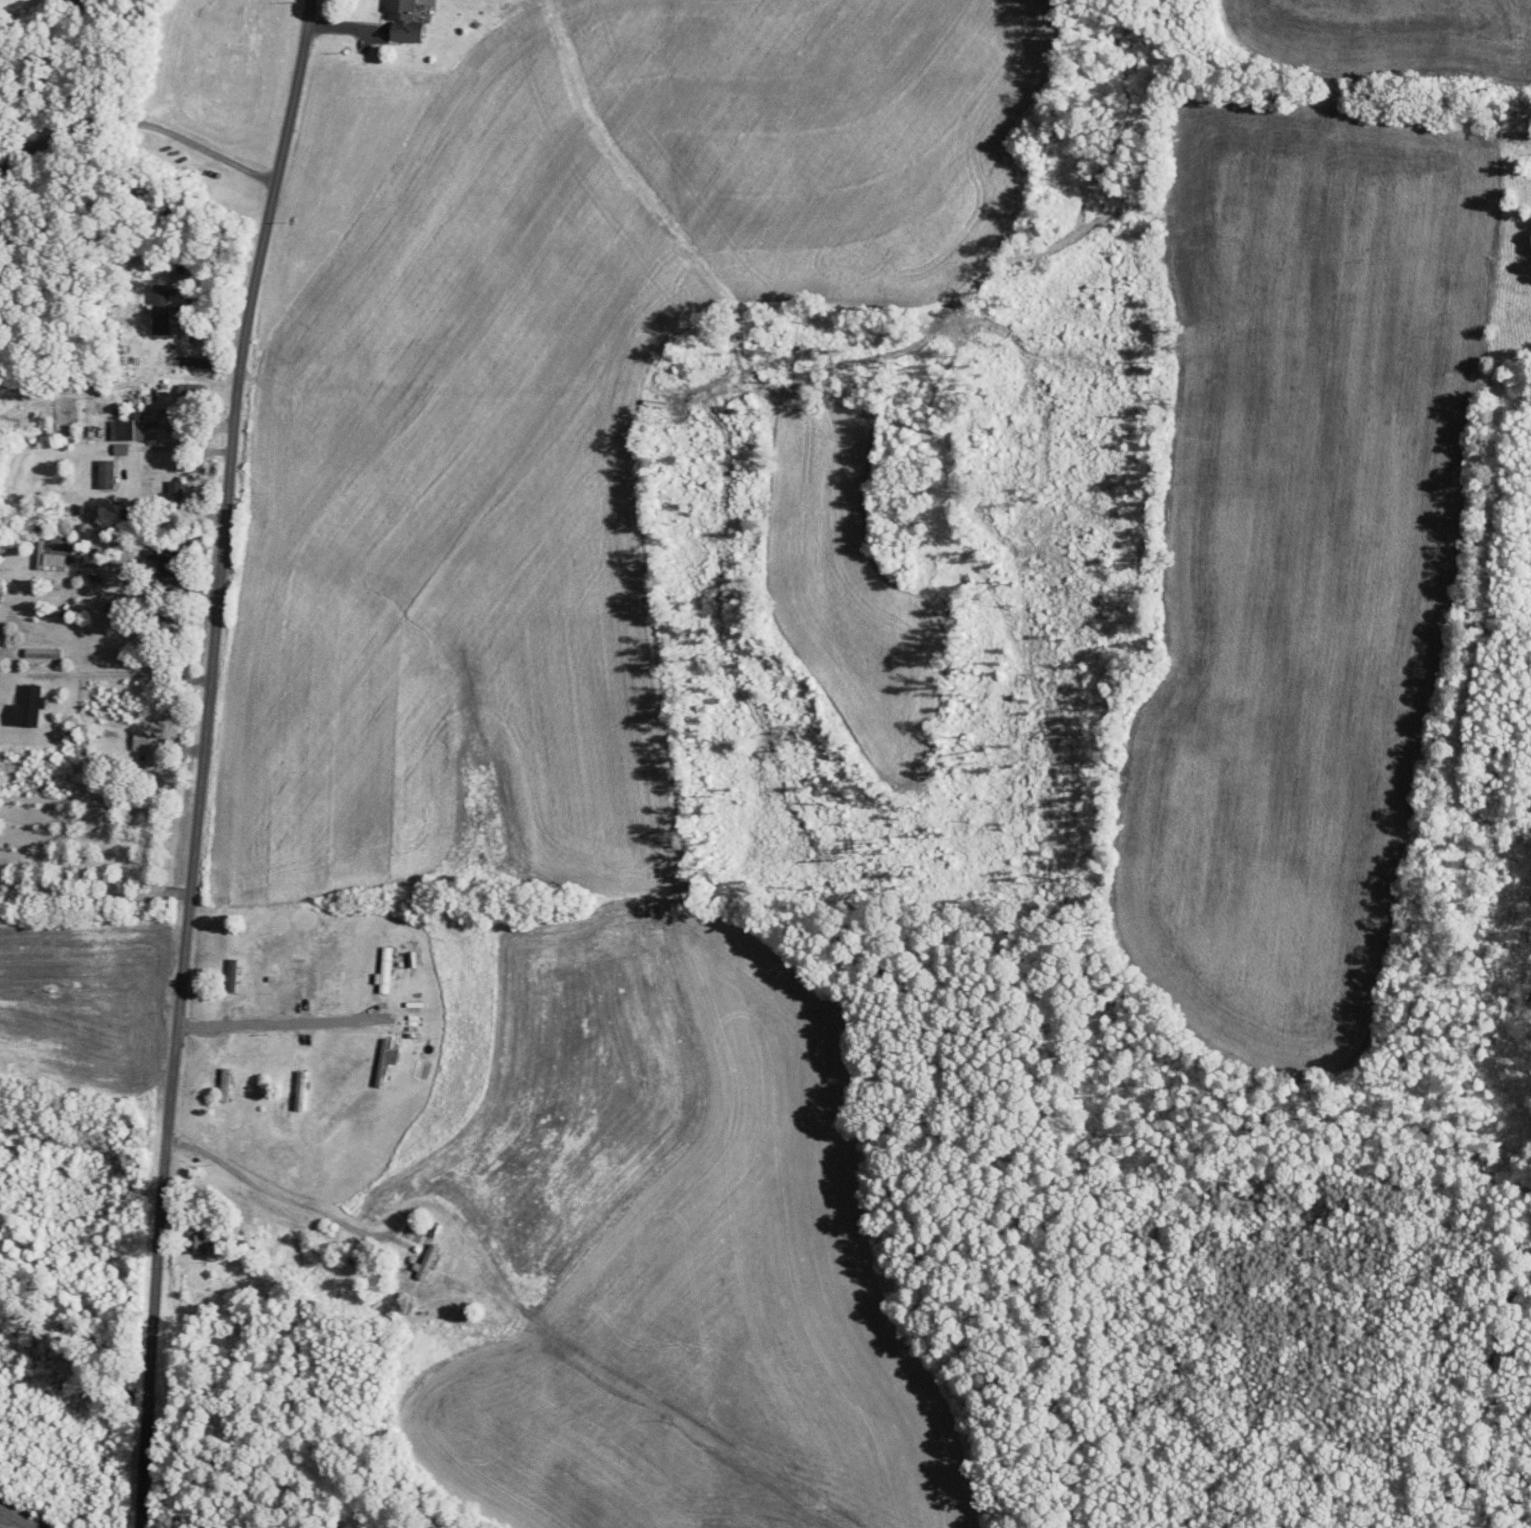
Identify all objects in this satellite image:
building: (406, 19)
road: (136, 121)
building: (164, 307)
building: (188, 391)
building: (128, 427)
road: (182, 445)
building: (119, 449)
building: (106, 473)
road: (187, 489)
building: (58, 545)
building: (42, 652)
road: (133, 673)
building: (28, 706)
building: (146, 746)
road: (199, 761)
road: (94, 895)
building: (384, 969)
building: (232, 974)
road: (293, 1022)
building: (385, 1060)
building: (224, 1083)
road: (259, 1186)
building: (198, 1241)
building: (424, 1262)

